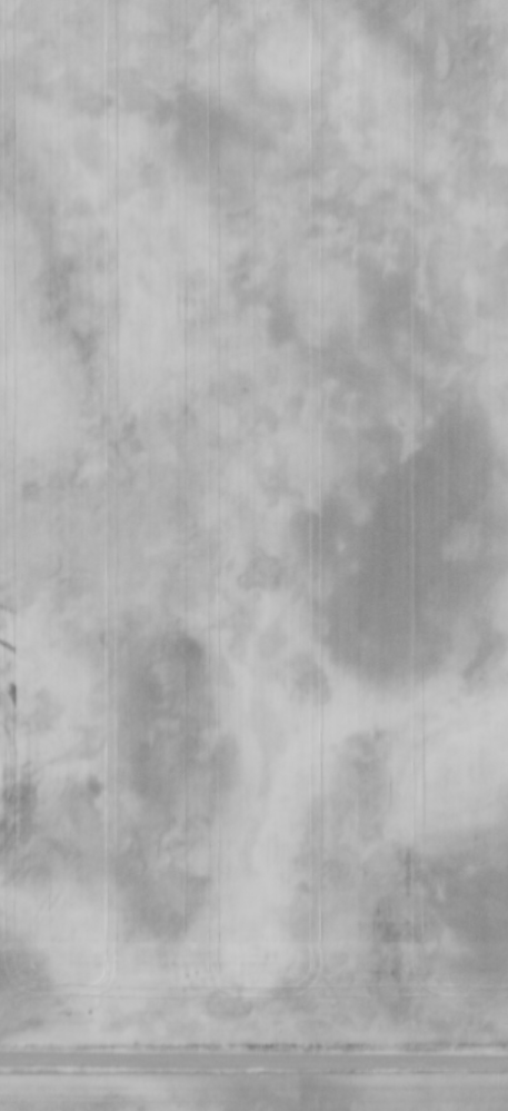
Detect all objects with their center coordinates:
road: (253, 1057)

